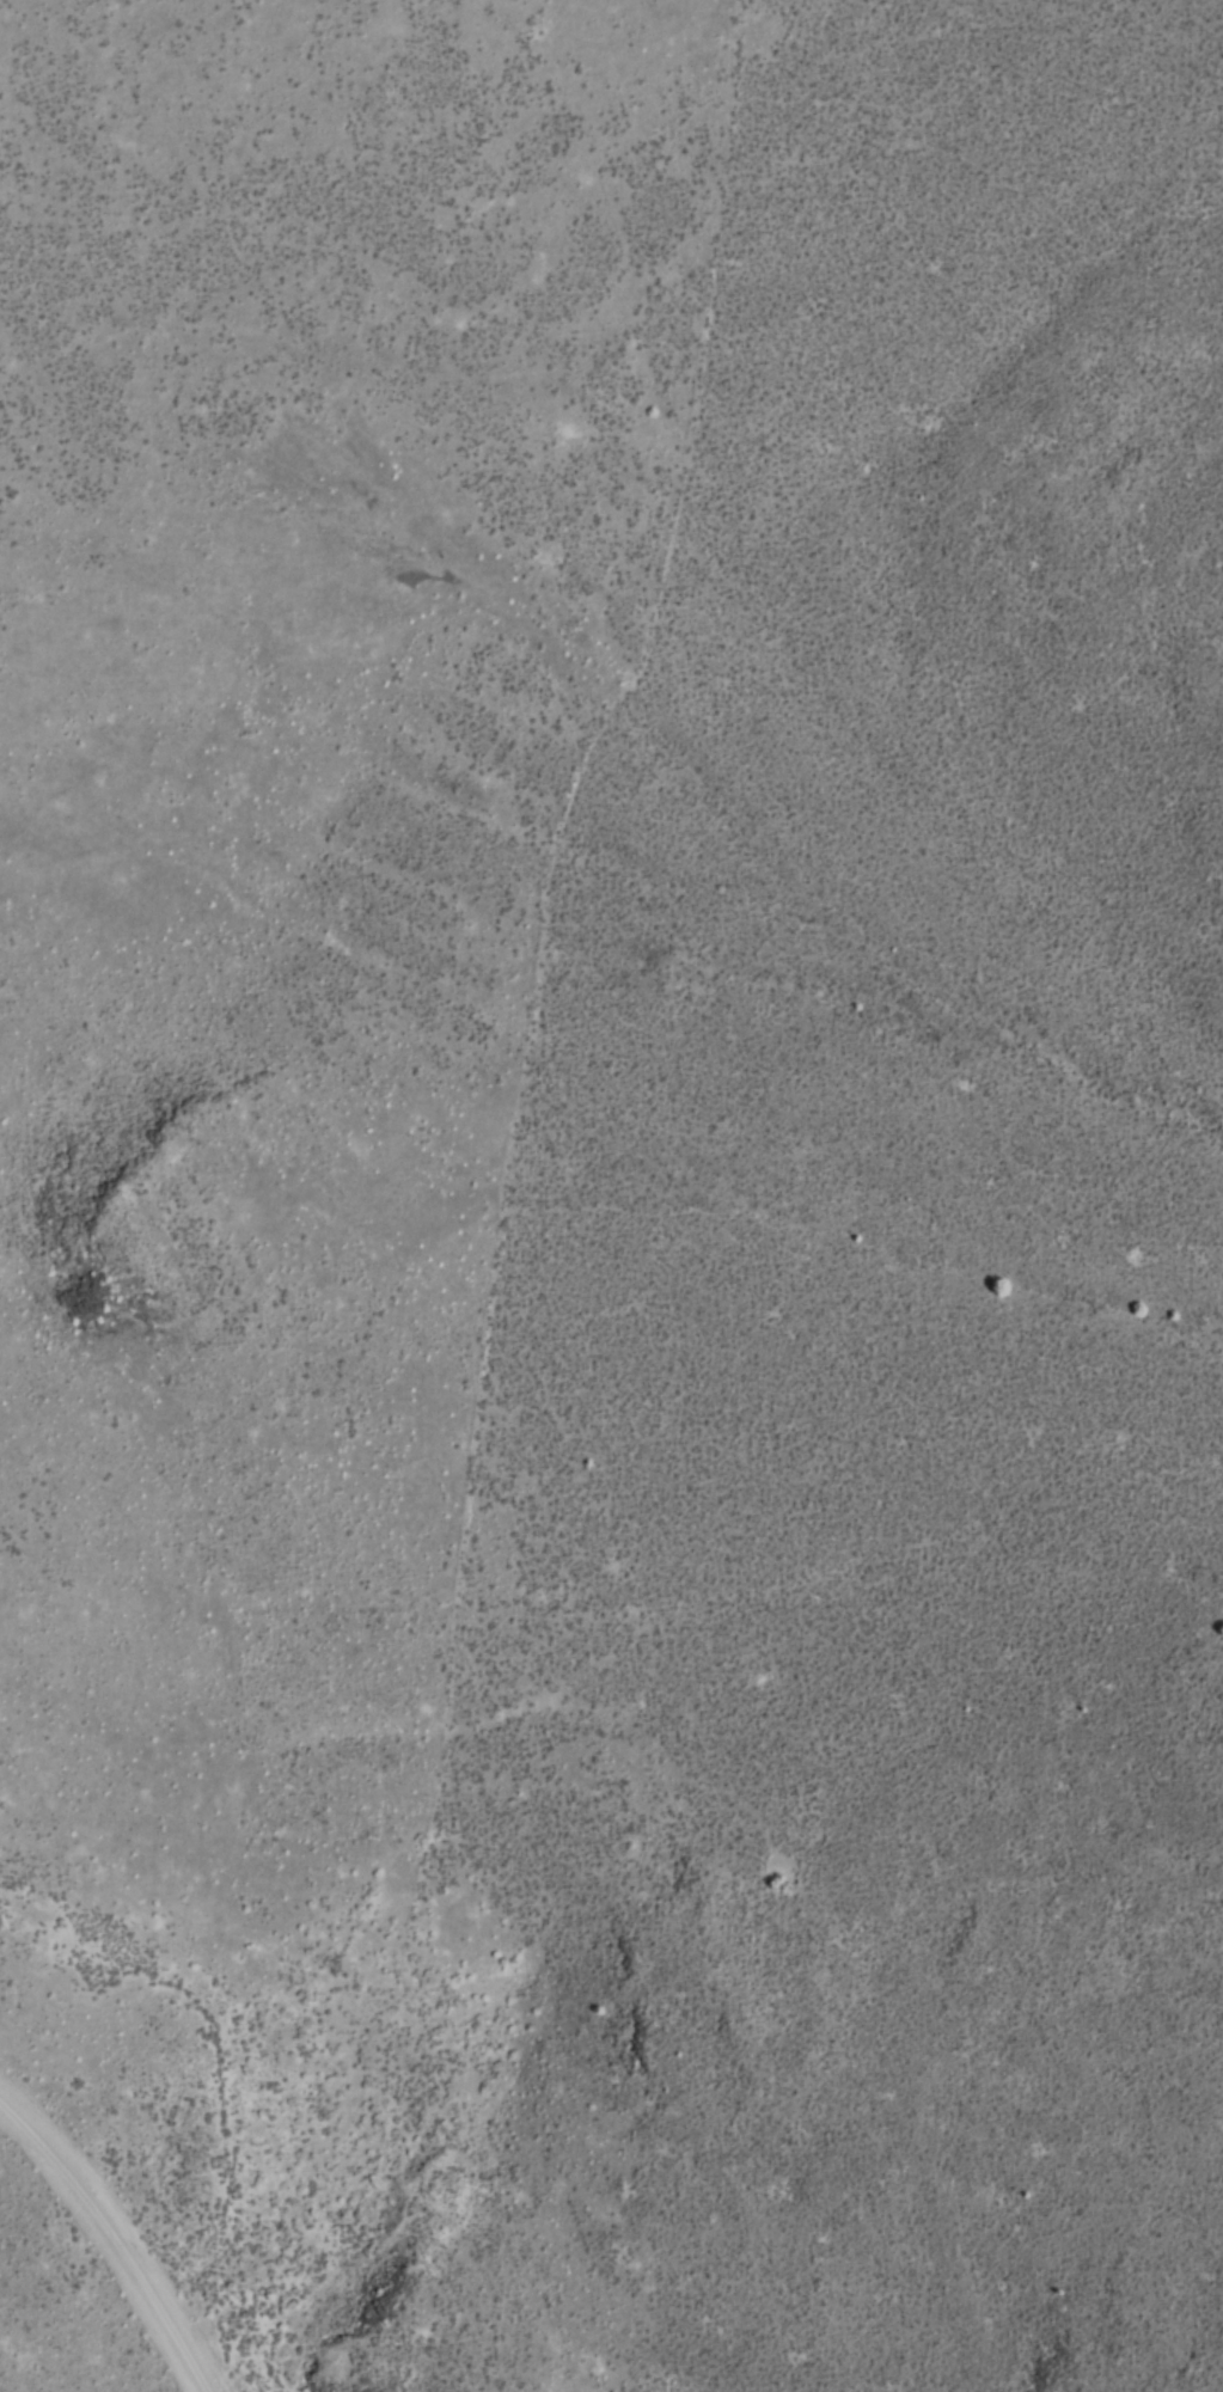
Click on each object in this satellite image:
road: (121, 2239)

